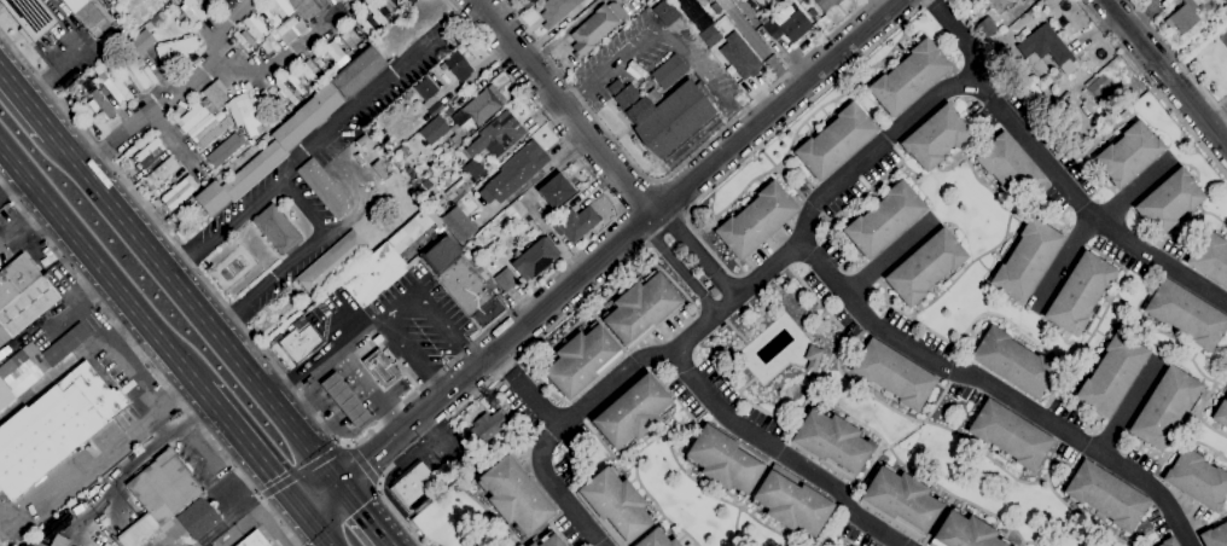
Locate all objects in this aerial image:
building: (649, 0)
building: (220, 1)
building: (406, 1)
building: (639, 1)
building: (703, 2)
building: (772, 2)
building: (1165, 2)
building: (826, 4)
building: (389, 5)
building: (278, 6)
building: (304, 7)
building: (715, 7)
building: (557, 10)
building: (665, 12)
building: (376, 13)
building: (693, 13)
building: (813, 13)
building: (31, 16)
building: (1184, 16)
building: (93, 17)
building: (262, 17)
building: (364, 23)
building: (252, 24)
building: (789, 27)
building: (985, 27)
building: (289, 29)
road: (663, 29)
building: (593, 30)
road: (528, 31)
road: (961, 35)
building: (710, 36)
building: (245, 40)
building: (141, 41)
building: (272, 43)
building: (361, 45)
road: (754, 45)
building: (176, 47)
road: (287, 47)
building: (333, 50)
building: (1045, 52)
building: (739, 56)
road: (1179, 58)
building: (319, 62)
building: (457, 65)
building: (667, 69)
building: (307, 71)
building: (359, 71)
road: (1170, 74)
building: (136, 76)
building: (908, 77)
building: (295, 82)
building: (114, 85)
building: (1099, 86)
road: (1155, 86)
building: (425, 87)
building: (615, 87)
building: (285, 91)
building: (215, 92)
road: (180, 93)
building: (463, 98)
road: (575, 99)
building: (271, 100)
building: (101, 103)
road: (562, 104)
road: (24, 105)
building: (287, 109)
building: (476, 112)
building: (244, 114)
building: (665, 114)
building: (192, 116)
road: (1216, 116)
road: (735, 117)
road: (336, 127)
building: (434, 129)
building: (213, 130)
building: (496, 135)
building: (935, 136)
building: (836, 141)
building: (225, 149)
building: (405, 149)
building: (271, 150)
building: (149, 152)
building: (1128, 153)
road: (690, 158)
building: (1008, 168)
building: (380, 169)
building: (163, 170)
building: (470, 172)
building: (514, 172)
road: (12, 182)
road: (833, 184)
building: (324, 187)
building: (461, 190)
building: (556, 190)
building: (179, 191)
road: (530, 201)
building: (1169, 201)
building: (155, 204)
building: (884, 219)
building: (756, 220)
building: (577, 222)
building: (459, 223)
road: (1092, 223)
building: (278, 228)
building: (477, 244)
road: (313, 248)
road: (694, 249)
road: (600, 254)
road: (891, 255)
building: (533, 257)
building: (1210, 257)
building: (1027, 260)
building: (331, 261)
building: (383, 262)
road: (181, 263)
road: (675, 263)
road: (100, 265)
road: (622, 265)
building: (925, 266)
building: (501, 273)
building: (16, 277)
building: (464, 281)
road: (92, 290)
building: (713, 291)
building: (1080, 292)
road: (519, 302)
road: (401, 304)
building: (25, 307)
building: (641, 309)
road: (196, 310)
building: (1186, 314)
road: (228, 324)
road: (243, 326)
road: (135, 339)
road: (111, 344)
building: (297, 345)
road: (343, 350)
railway: (151, 354)
road: (471, 355)
building: (813, 356)
building: (582, 360)
building: (1012, 361)
building: (35, 362)
road: (149, 364)
building: (382, 367)
building: (894, 374)
building: (1111, 374)
road: (440, 383)
road: (529, 388)
road: (999, 388)
road: (285, 394)
building: (345, 399)
gas station: (345, 399)
road: (1133, 406)
building: (1164, 407)
building: (632, 409)
building: (1221, 413)
building: (490, 424)
building: (53, 426)
building: (1010, 435)
building: (831, 442)
road: (255, 452)
road: (100, 453)
road: (780, 453)
building: (722, 460)
road: (364, 463)
road: (302, 470)
building: (1197, 480)
building: (419, 484)
traffic signals: (343, 489)
building: (159, 494)
building: (514, 495)
building: (1106, 495)
building: (900, 500)
building: (792, 501)
building: (615, 505)
traffic signals: (310, 517)
road: (368, 517)
building: (198, 518)
road: (321, 532)
building: (964, 532)
building: (1215, 535)
building: (656, 539)
building: (252, 540)
building: (551, 540)
building: (58, 541)
building: (1168, 541)
building: (39, 544)
building: (105, 544)
building: (531, 544)

